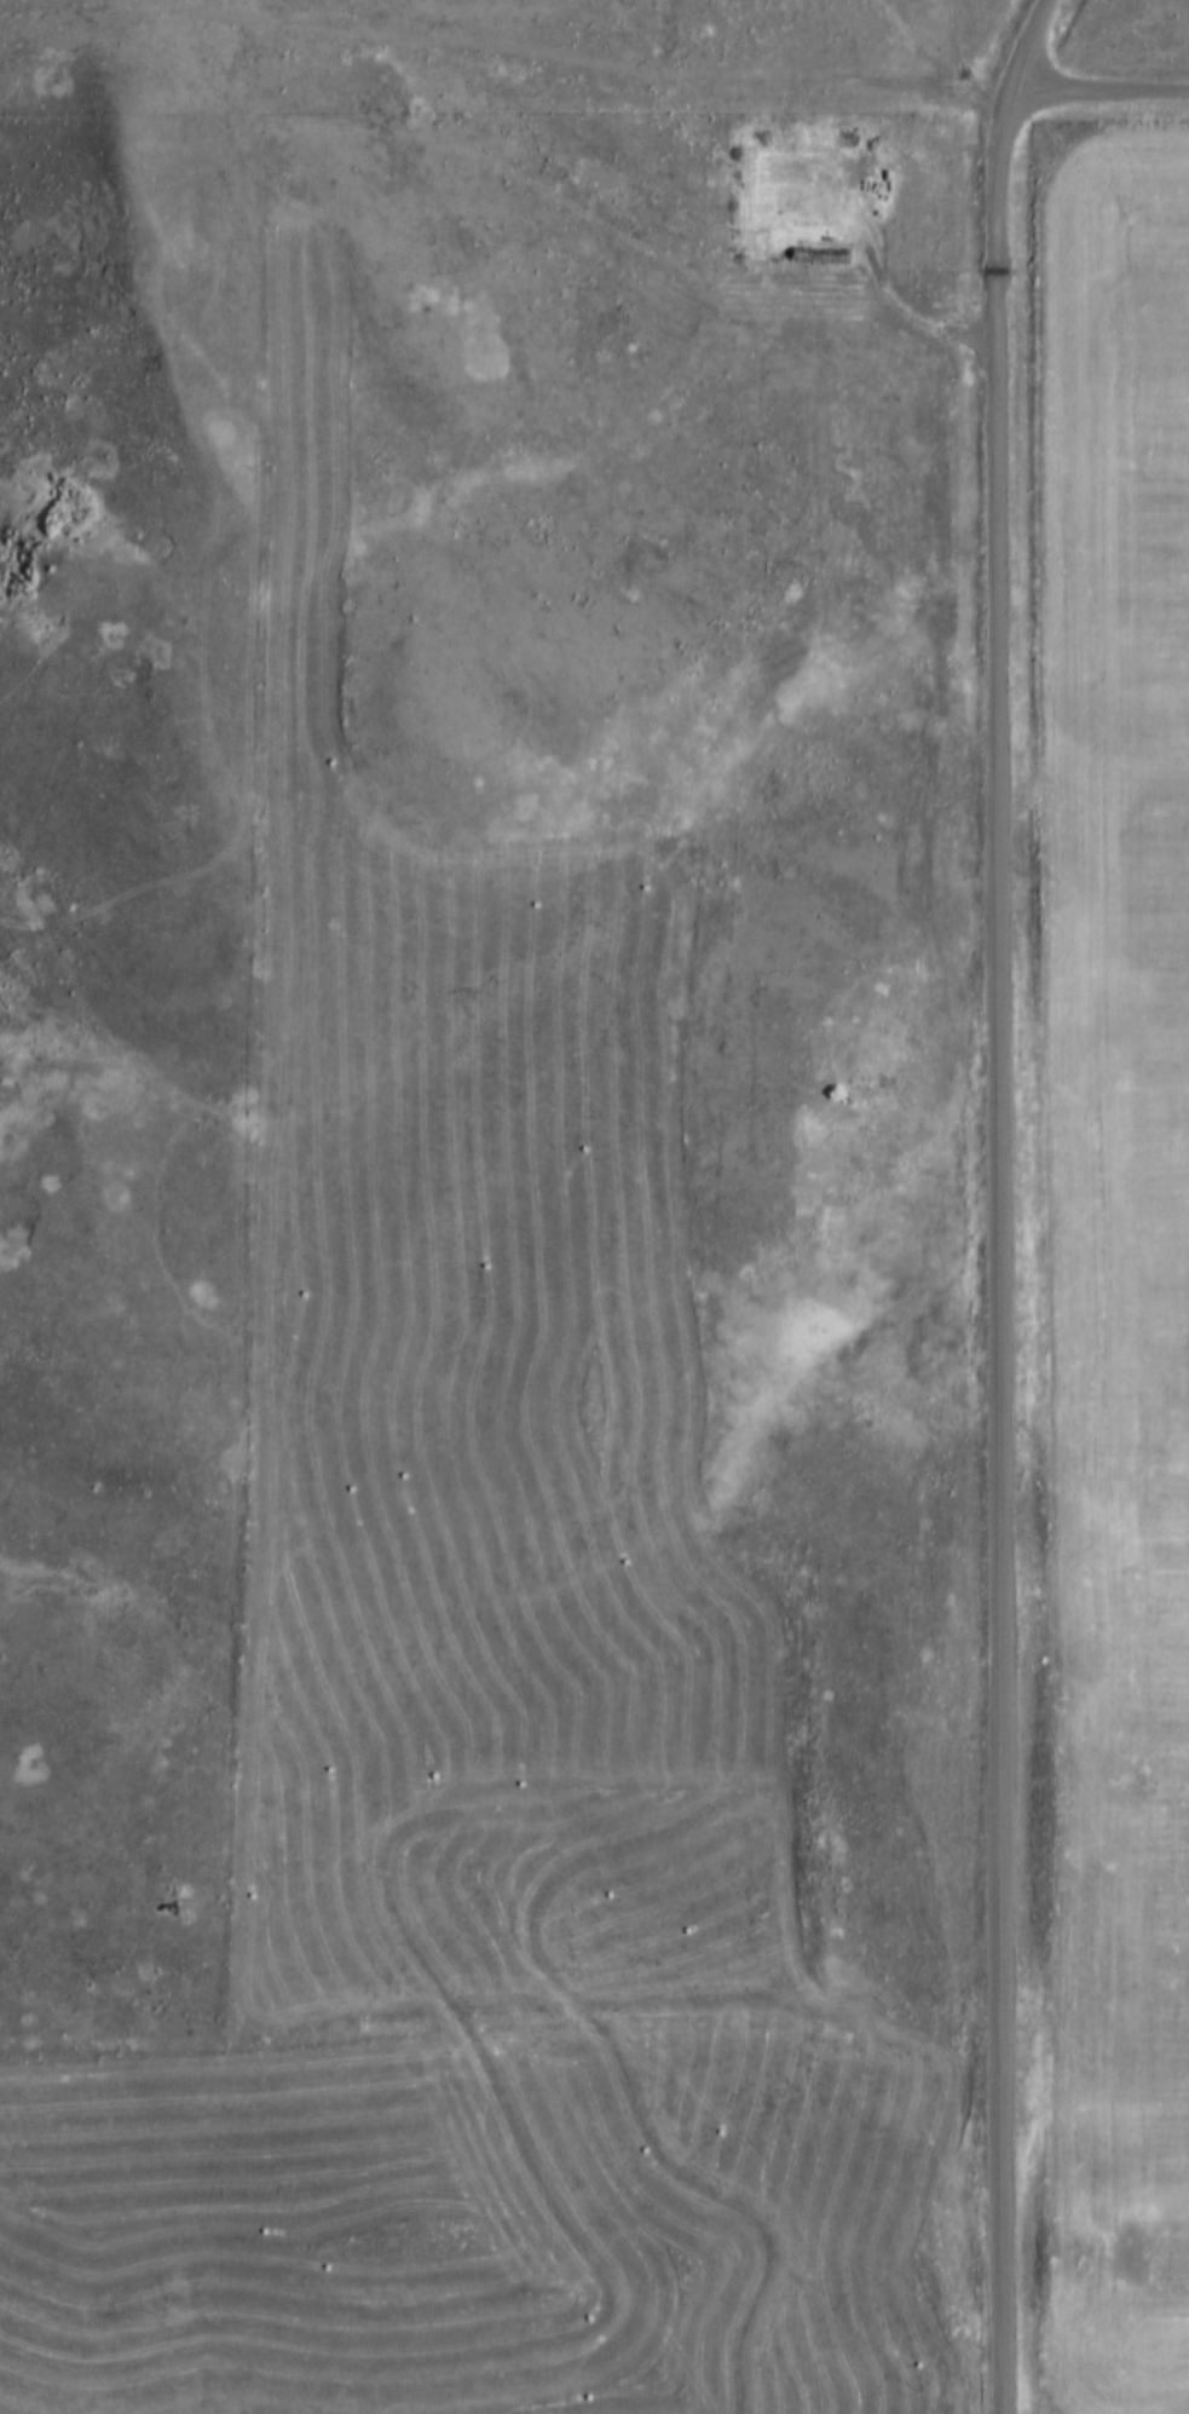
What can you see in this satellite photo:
road: (951, 48)
road: (1095, 97)
road: (997, 1202)
road: (497, 1975)

